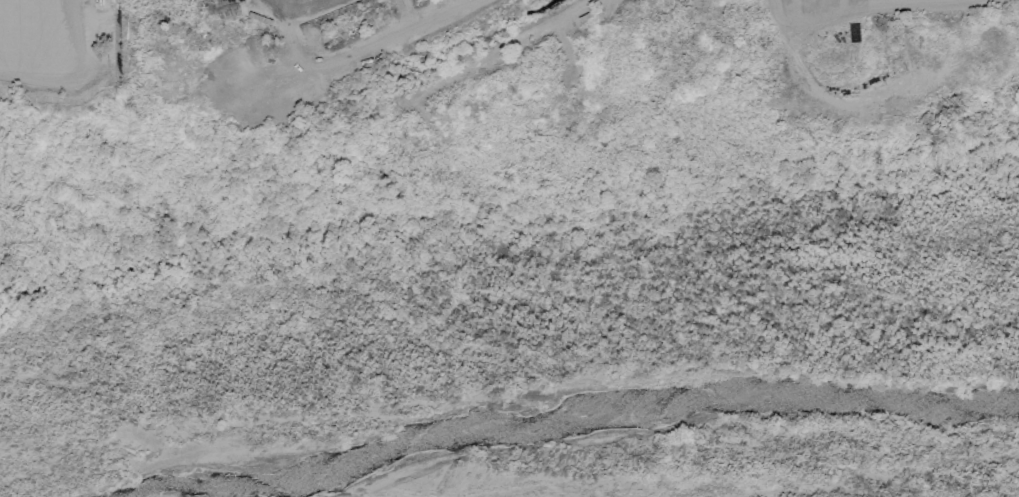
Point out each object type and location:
crop: (865, 9)
crop: (348, 27)
crop: (54, 45)

